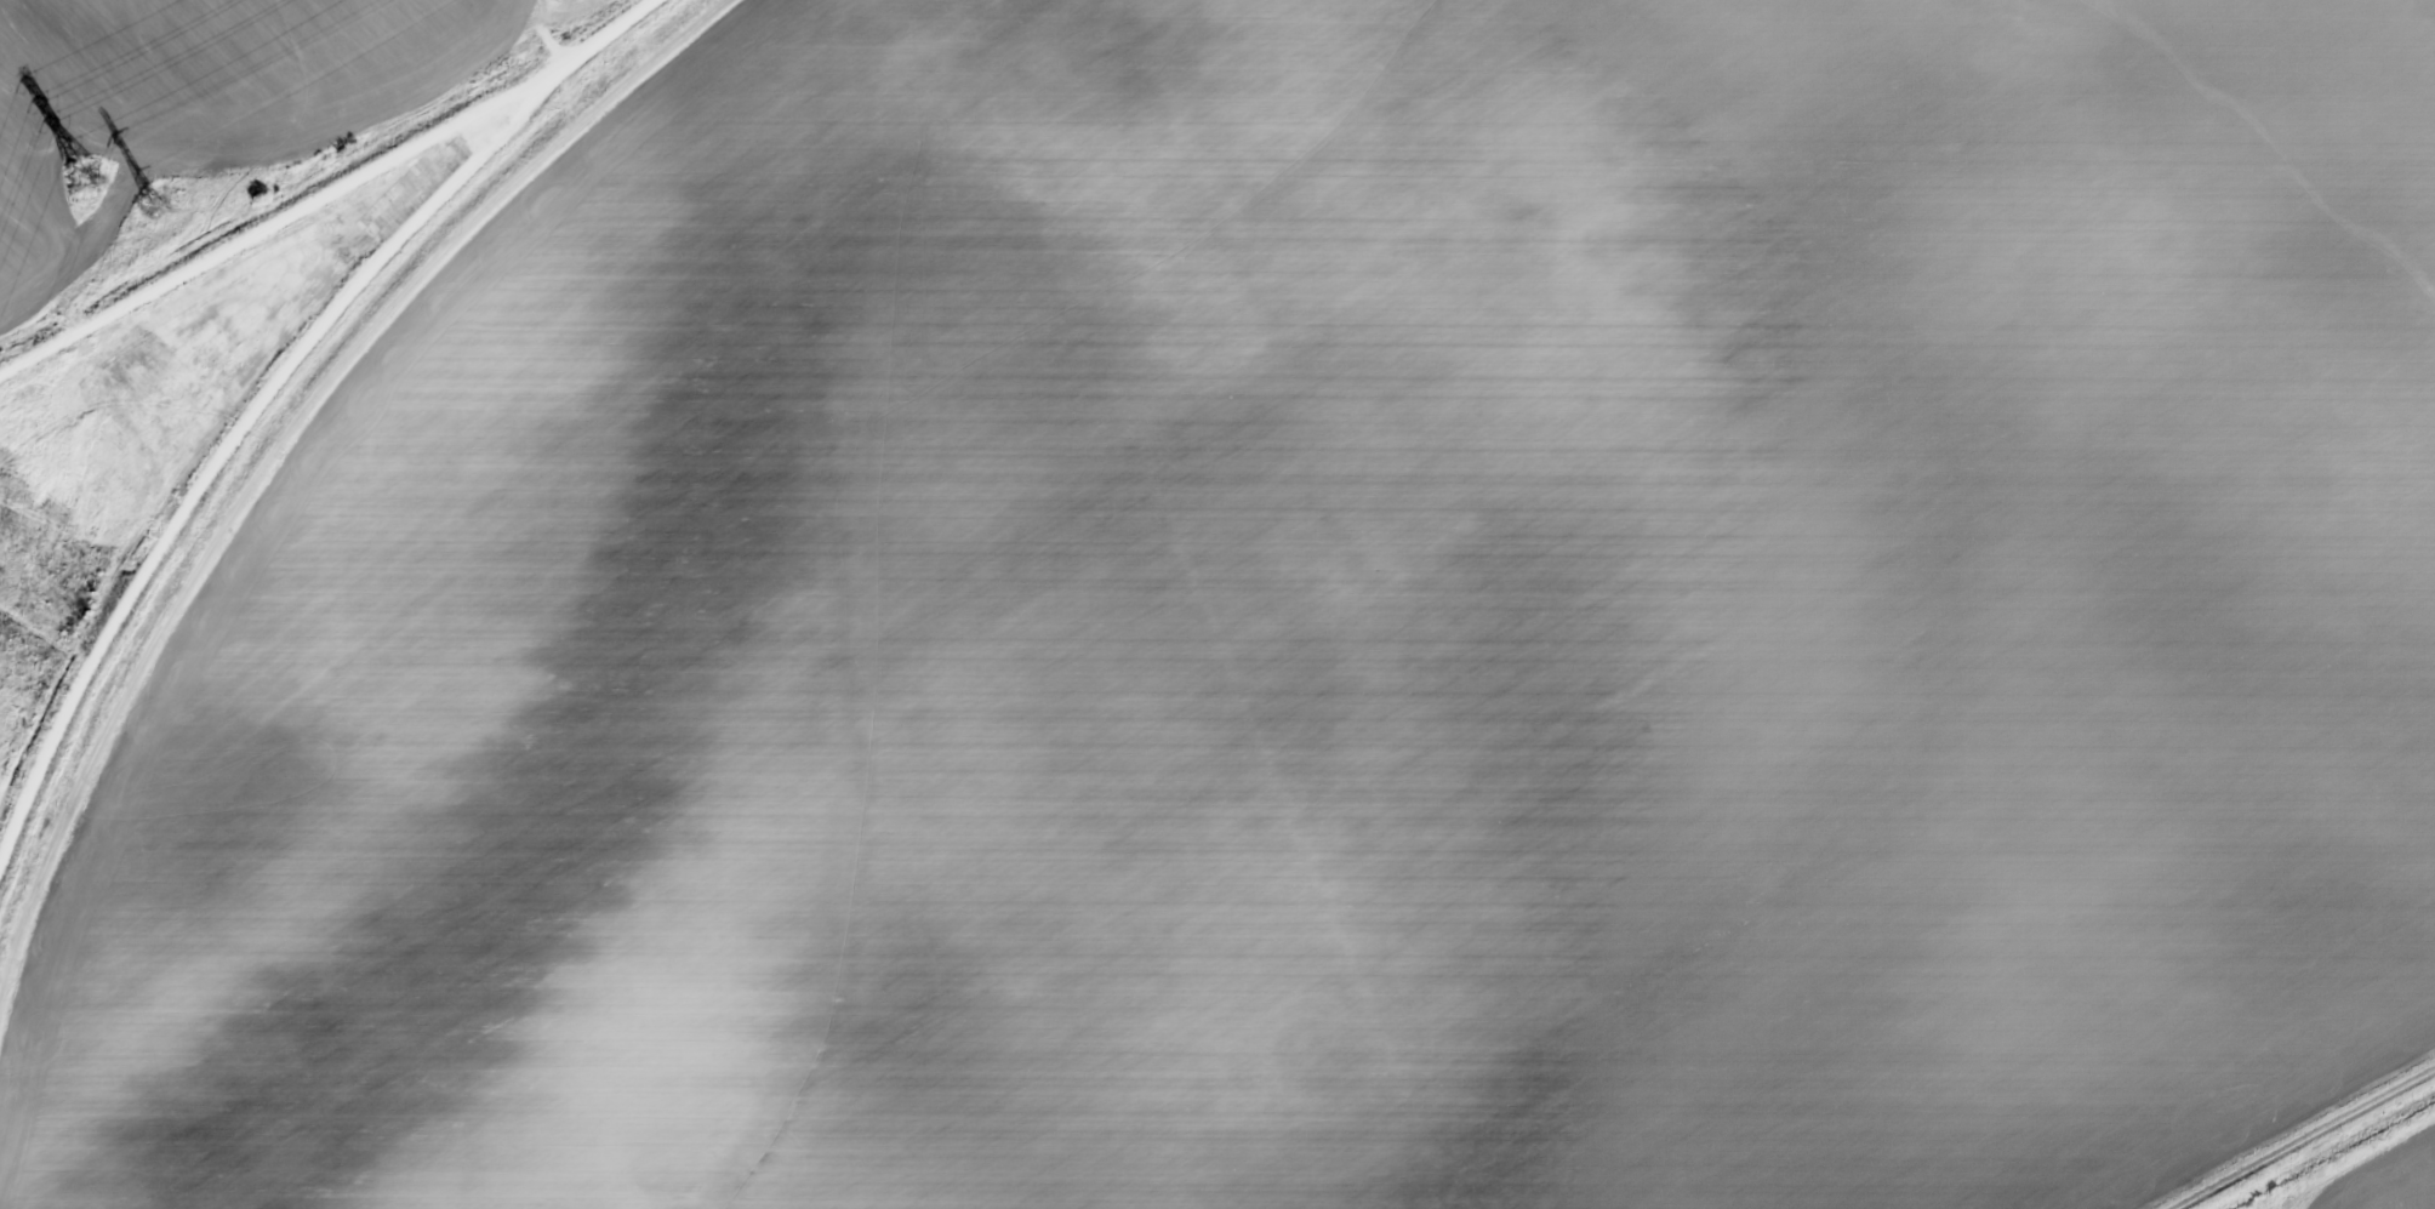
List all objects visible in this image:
power tower: (84, 178)
railway: (310, 188)
power tower: (152, 206)
railway: (275, 454)

